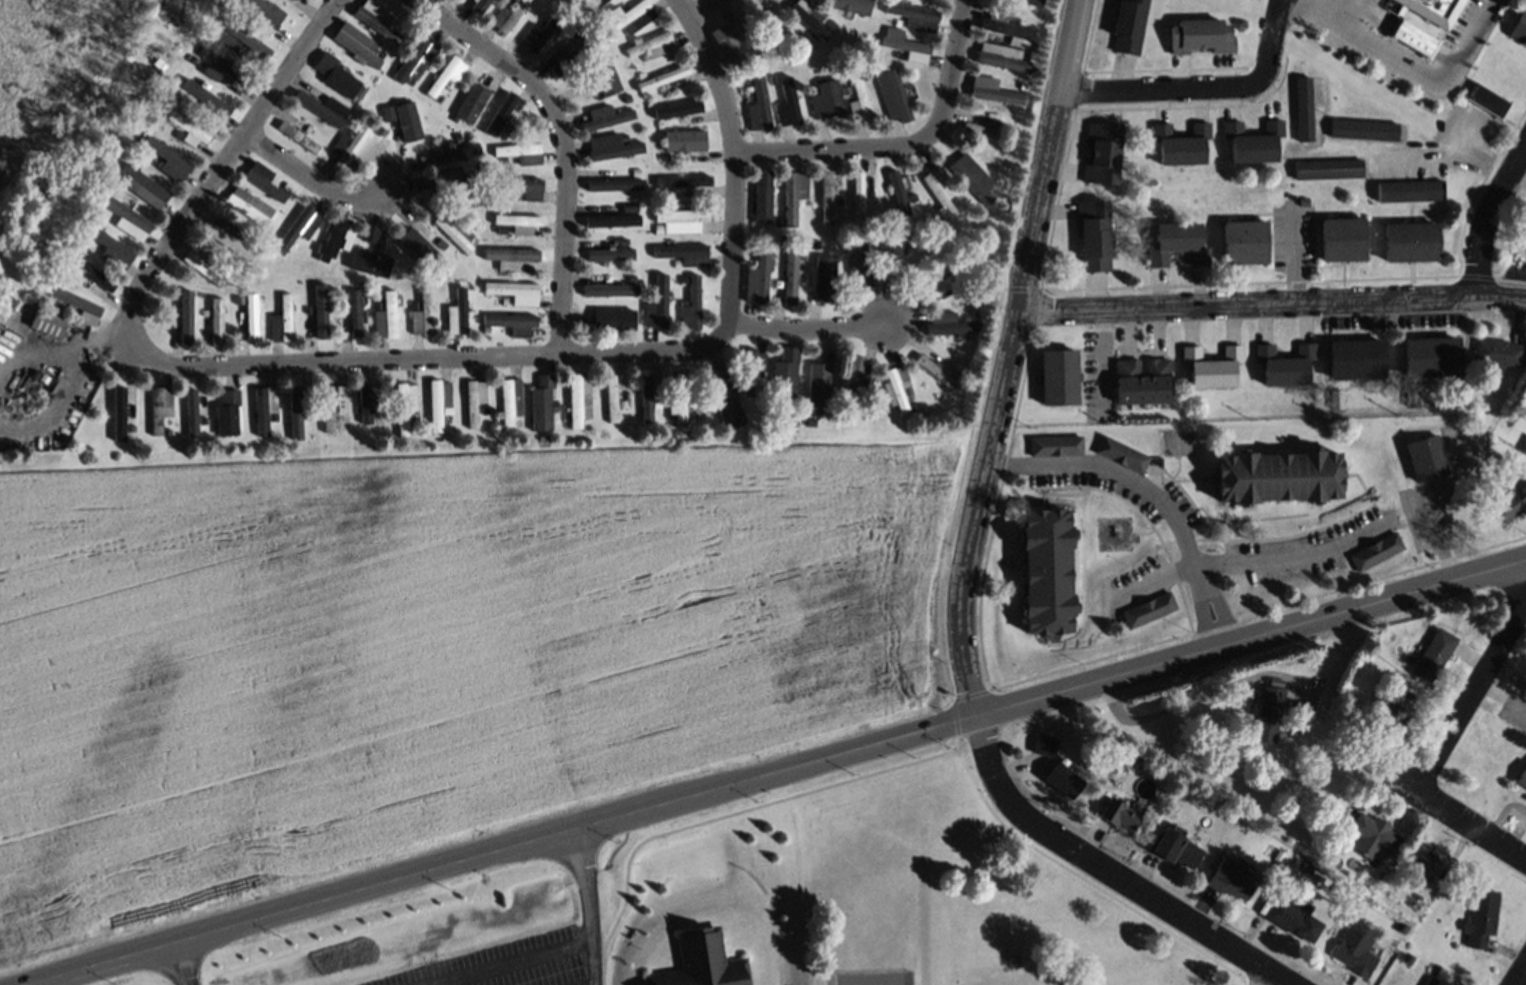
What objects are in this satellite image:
building: (1006, 0)
building: (284, 1)
road: (1309, 1)
building: (1032, 2)
building: (589, 4)
building: (478, 5)
building: (852, 5)
road: (701, 8)
building: (263, 10)
building: (544, 12)
building: (507, 14)
building: (629, 14)
building: (913, 14)
building: (811, 17)
building: (378, 19)
building: (800, 23)
building: (1129, 24)
building: (1008, 27)
building: (1519, 28)
building: (771, 29)
building: (538, 31)
building: (1200, 34)
building: (245, 37)
building: (574, 38)
building: (901, 40)
building: (228, 41)
building: (733, 41)
building: (370, 44)
building: (652, 45)
building: (356, 48)
building: (568, 55)
building: (1003, 55)
building: (194, 57)
building: (416, 58)
building: (756, 61)
building: (226, 70)
building: (447, 73)
building: (582, 76)
building: (662, 76)
building: (210, 77)
building: (606, 77)
building: (773, 79)
building: (337, 81)
road: (1416, 81)
building: (1023, 84)
building: (846, 89)
building: (992, 89)
road: (1203, 89)
building: (893, 94)
building: (644, 95)
building: (627, 97)
building: (827, 98)
building: (1486, 98)
building: (439, 99)
building: (859, 99)
building: (471, 101)
building: (758, 103)
building: (787, 103)
building: (208, 104)
building: (317, 107)
building: (1303, 107)
building: (678, 110)
building: (388, 111)
building: (499, 114)
building: (603, 116)
building: (407, 119)
building: (1362, 127)
building: (982, 131)
building: (187, 133)
building: (297, 135)
building: (457, 136)
building: (1253, 139)
building: (684, 140)
building: (1181, 142)
building: (349, 143)
road: (567, 144)
building: (611, 145)
road: (905, 146)
building: (1102, 150)
building: (455, 152)
building: (521, 152)
road: (736, 156)
building: (664, 157)
building: (165, 161)
building: (103, 162)
building: (480, 165)
building: (1327, 167)
building: (611, 172)
building: (972, 176)
road: (311, 179)
building: (452, 181)
building: (684, 181)
building: (614, 183)
building: (264, 184)
building: (522, 185)
building: (143, 188)
building: (1408, 189)
building: (939, 190)
building: (664, 192)
building: (858, 192)
building: (871, 192)
building: (97, 193)
building: (794, 193)
building: (762, 194)
building: (827, 194)
building: (894, 194)
building: (900, 195)
building: (853, 197)
building: (954, 198)
building: (837, 199)
building: (1303, 200)
building: (249, 204)
building: (619, 206)
building: (611, 218)
building: (681, 218)
building: (517, 220)
road: (1488, 220)
building: (128, 221)
building: (779, 221)
building: (300, 227)
building: (454, 228)
building: (657, 228)
building: (501, 229)
building: (1524, 232)
building: (1093, 233)
building: (227, 236)
building: (782, 238)
building: (1340, 238)
building: (1524, 238)
building: (623, 240)
building: (1410, 240)
building: (332, 241)
building: (1244, 241)
building: (1178, 242)
building: (815, 243)
building: (443, 244)
building: (418, 245)
building: (110, 250)
building: (683, 253)
building: (610, 254)
building: (512, 257)
building: (892, 258)
building: (860, 262)
building: (365, 264)
building: (671, 264)
building: (204, 268)
building: (90, 274)
building: (821, 274)
building: (758, 276)
building: (790, 276)
building: (630, 278)
building: (935, 284)
building: (509, 287)
building: (608, 289)
building: (238, 298)
building: (73, 299)
building: (691, 302)
building: (656, 304)
road: (1272, 304)
building: (342, 306)
building: (63, 308)
building: (307, 309)
building: (354, 311)
building: (456, 311)
building: (386, 313)
building: (421, 313)
building: (974, 313)
building: (320, 315)
building: (181, 318)
building: (250, 318)
building: (217, 319)
building: (577, 320)
building: (510, 321)
building: (601, 322)
building: (281, 323)
building: (949, 323)
building: (46, 327)
road: (812, 329)
building: (1499, 351)
building: (1430, 354)
building: (1355, 358)
building: (1285, 362)
road: (232, 366)
building: (1212, 366)
building: (751, 368)
building: (935, 370)
building: (760, 372)
building: (956, 373)
building: (796, 374)
building: (1058, 375)
building: (783, 377)
building: (848, 378)
building: (853, 380)
building: (1142, 380)
building: (818, 383)
building: (1525, 383)
building: (898, 386)
building: (908, 389)
building: (1411, 394)
building: (646, 396)
building: (612, 397)
building: (724, 397)
building: (1336, 397)
building: (510, 399)
building: (577, 399)
building: (678, 399)
building: (438, 400)
building: (474, 400)
building: (606, 400)
building: (641, 400)
building: (370, 403)
building: (404, 405)
building: (541, 407)
building: (159, 408)
building: (483, 409)
building: (326, 410)
building: (263, 411)
building: (332, 411)
building: (191, 412)
building: (294, 415)
building: (226, 416)
building: (203, 418)
building: (806, 419)
building: (1505, 422)
building: (1055, 444)
building: (1524, 448)
building: (1122, 453)
building: (1425, 456)
building: (1278, 474)
road: (1153, 496)
building: (1509, 502)
building: (1376, 550)
road: (1288, 557)
road: (968, 567)
building: (1047, 569)
building: (1150, 609)
building: (1433, 652)
building: (1295, 692)
road: (1471, 699)
road: (1184, 700)
building: (1397, 711)
building: (1267, 712)
building: (1044, 743)
road: (776, 774)
building: (1520, 777)
building: (1064, 780)
building: (1119, 813)
road: (1459, 820)
building: (1373, 834)
building: (1176, 847)
building: (1279, 855)
building: (1332, 860)
building: (1422, 863)
building: (1307, 868)
building: (1233, 877)
road: (591, 906)
building: (1291, 916)
building: (1480, 916)
building: (1353, 951)
building: (1409, 957)
road: (510, 961)
building: (695, 962)
road: (177, 964)
road: (1266, 978)
road: (1522, 978)
park: (868, 979)
building: (1432, 980)

